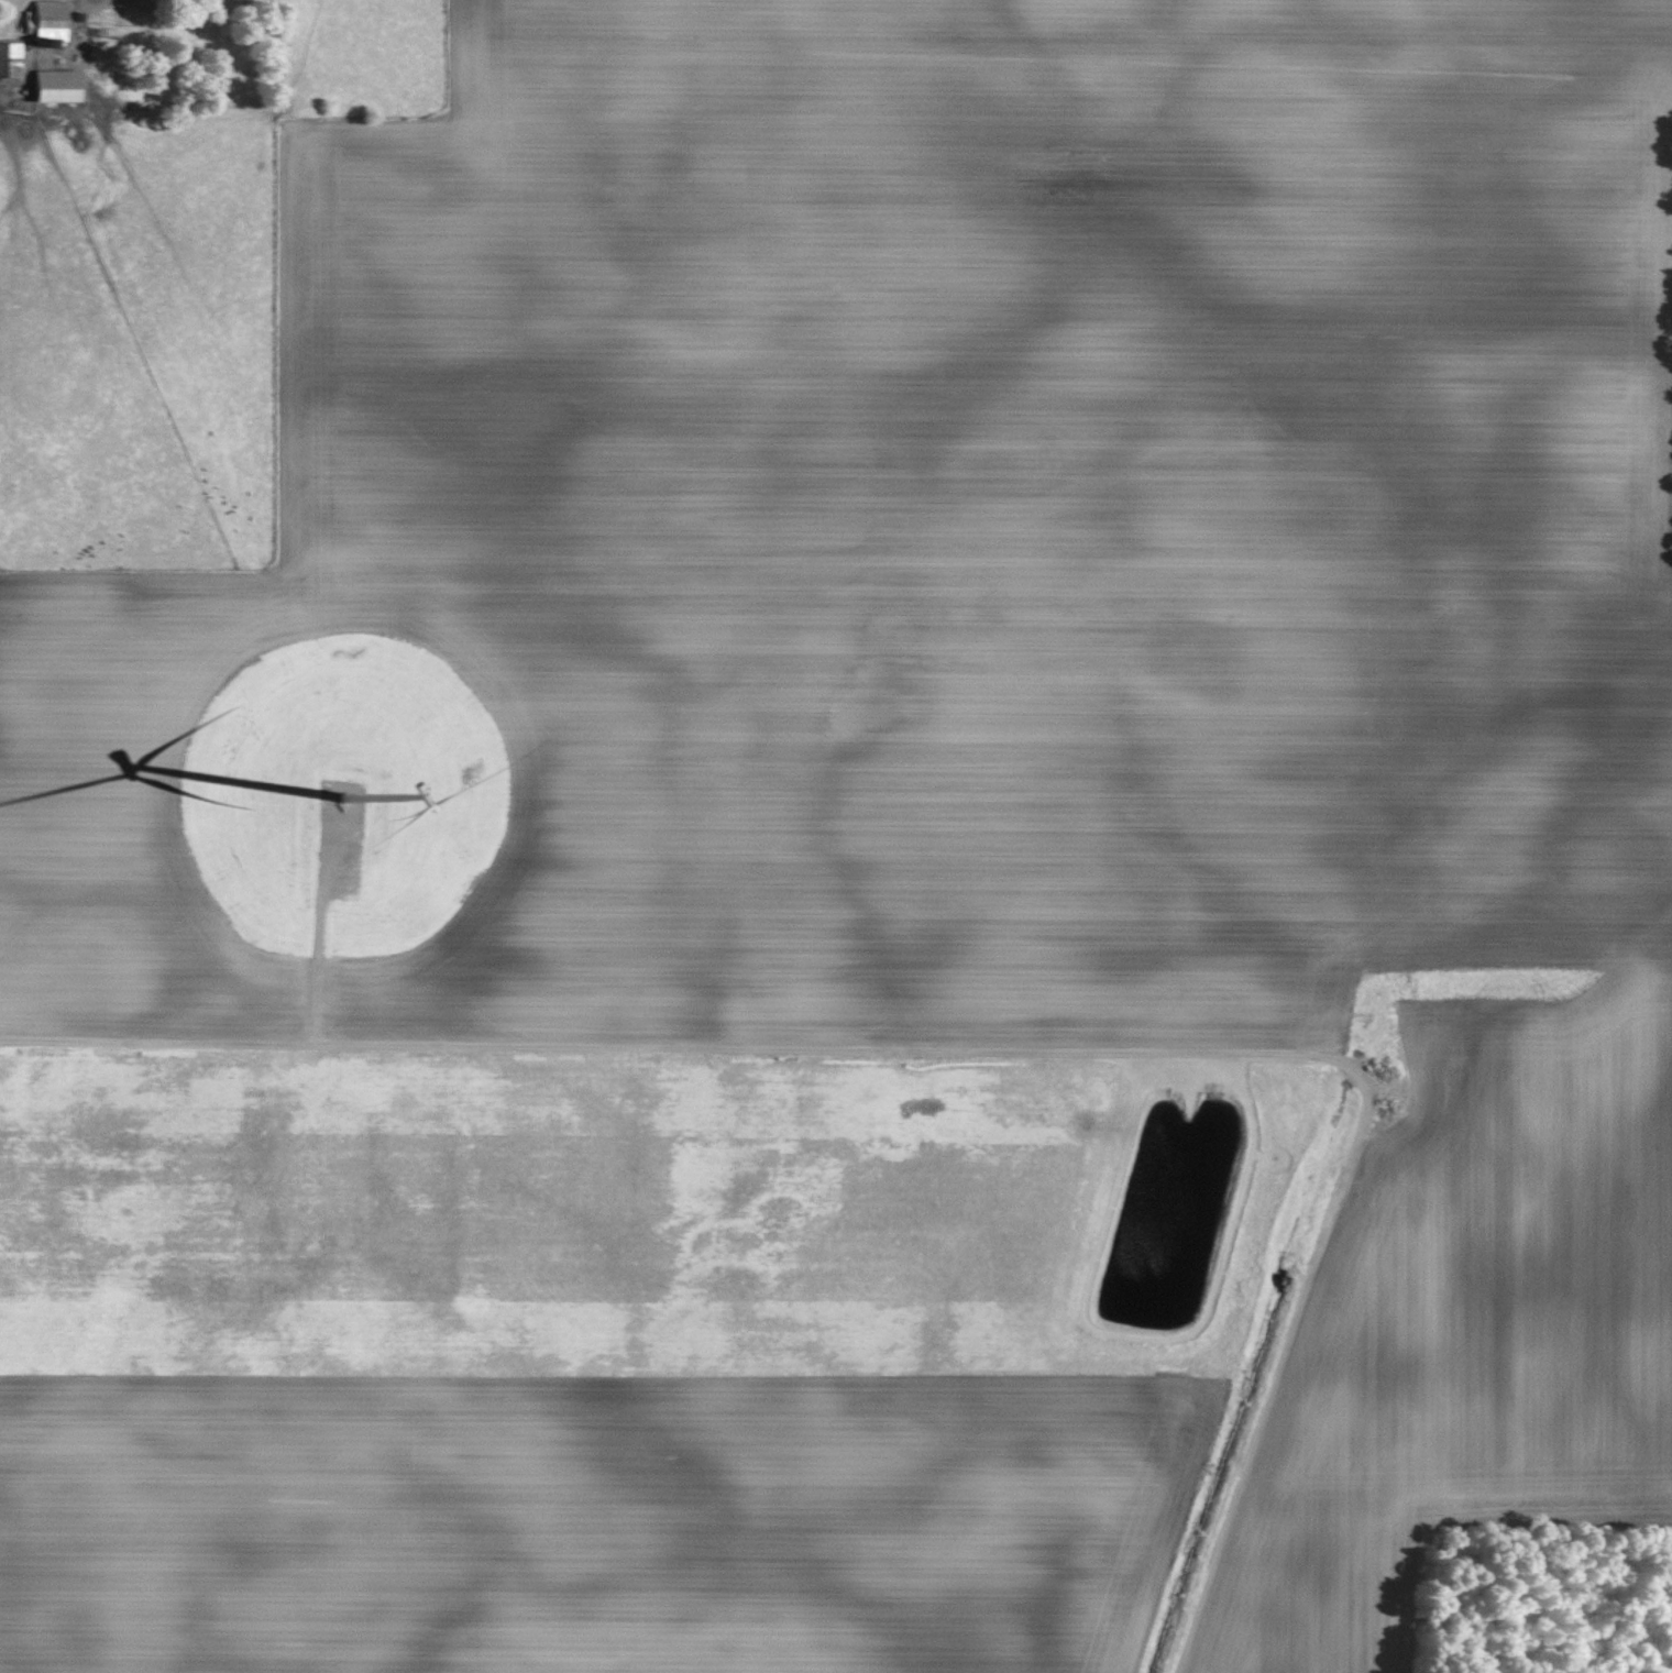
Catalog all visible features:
road: (1, 4)
building: (46, 21)
building: (9, 62)
building: (52, 86)
wind turbine: (343, 797)

